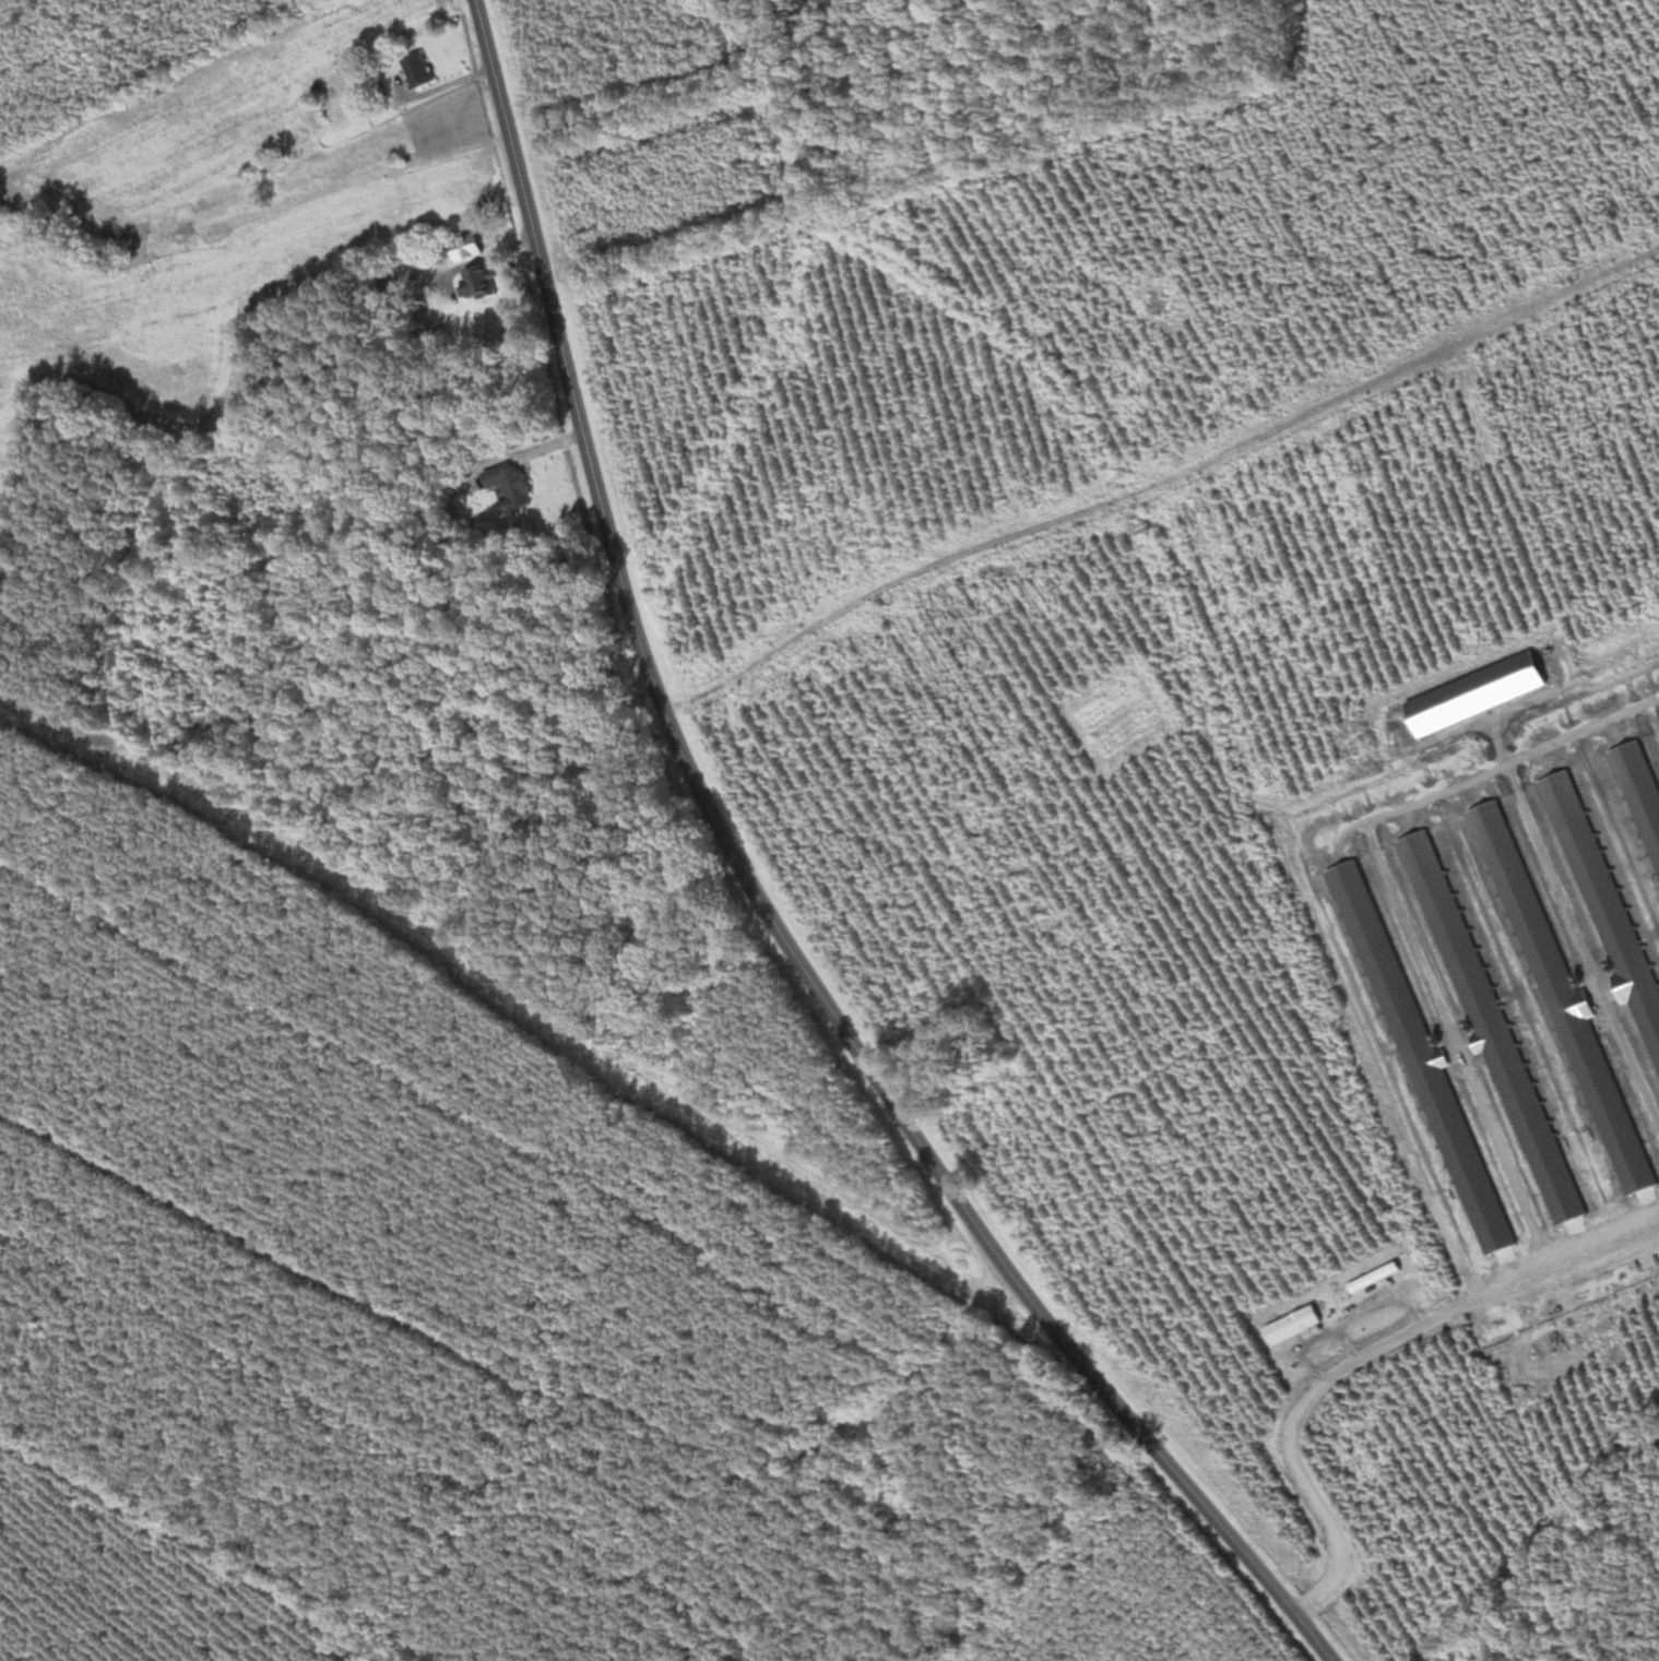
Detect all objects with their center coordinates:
building: (417, 71)
building: (465, 247)
building: (477, 281)
road: (382, 419)
building: (511, 487)
road: (765, 903)
road: (1350, 1326)
road: (1349, 1345)
road: (1363, 1356)

